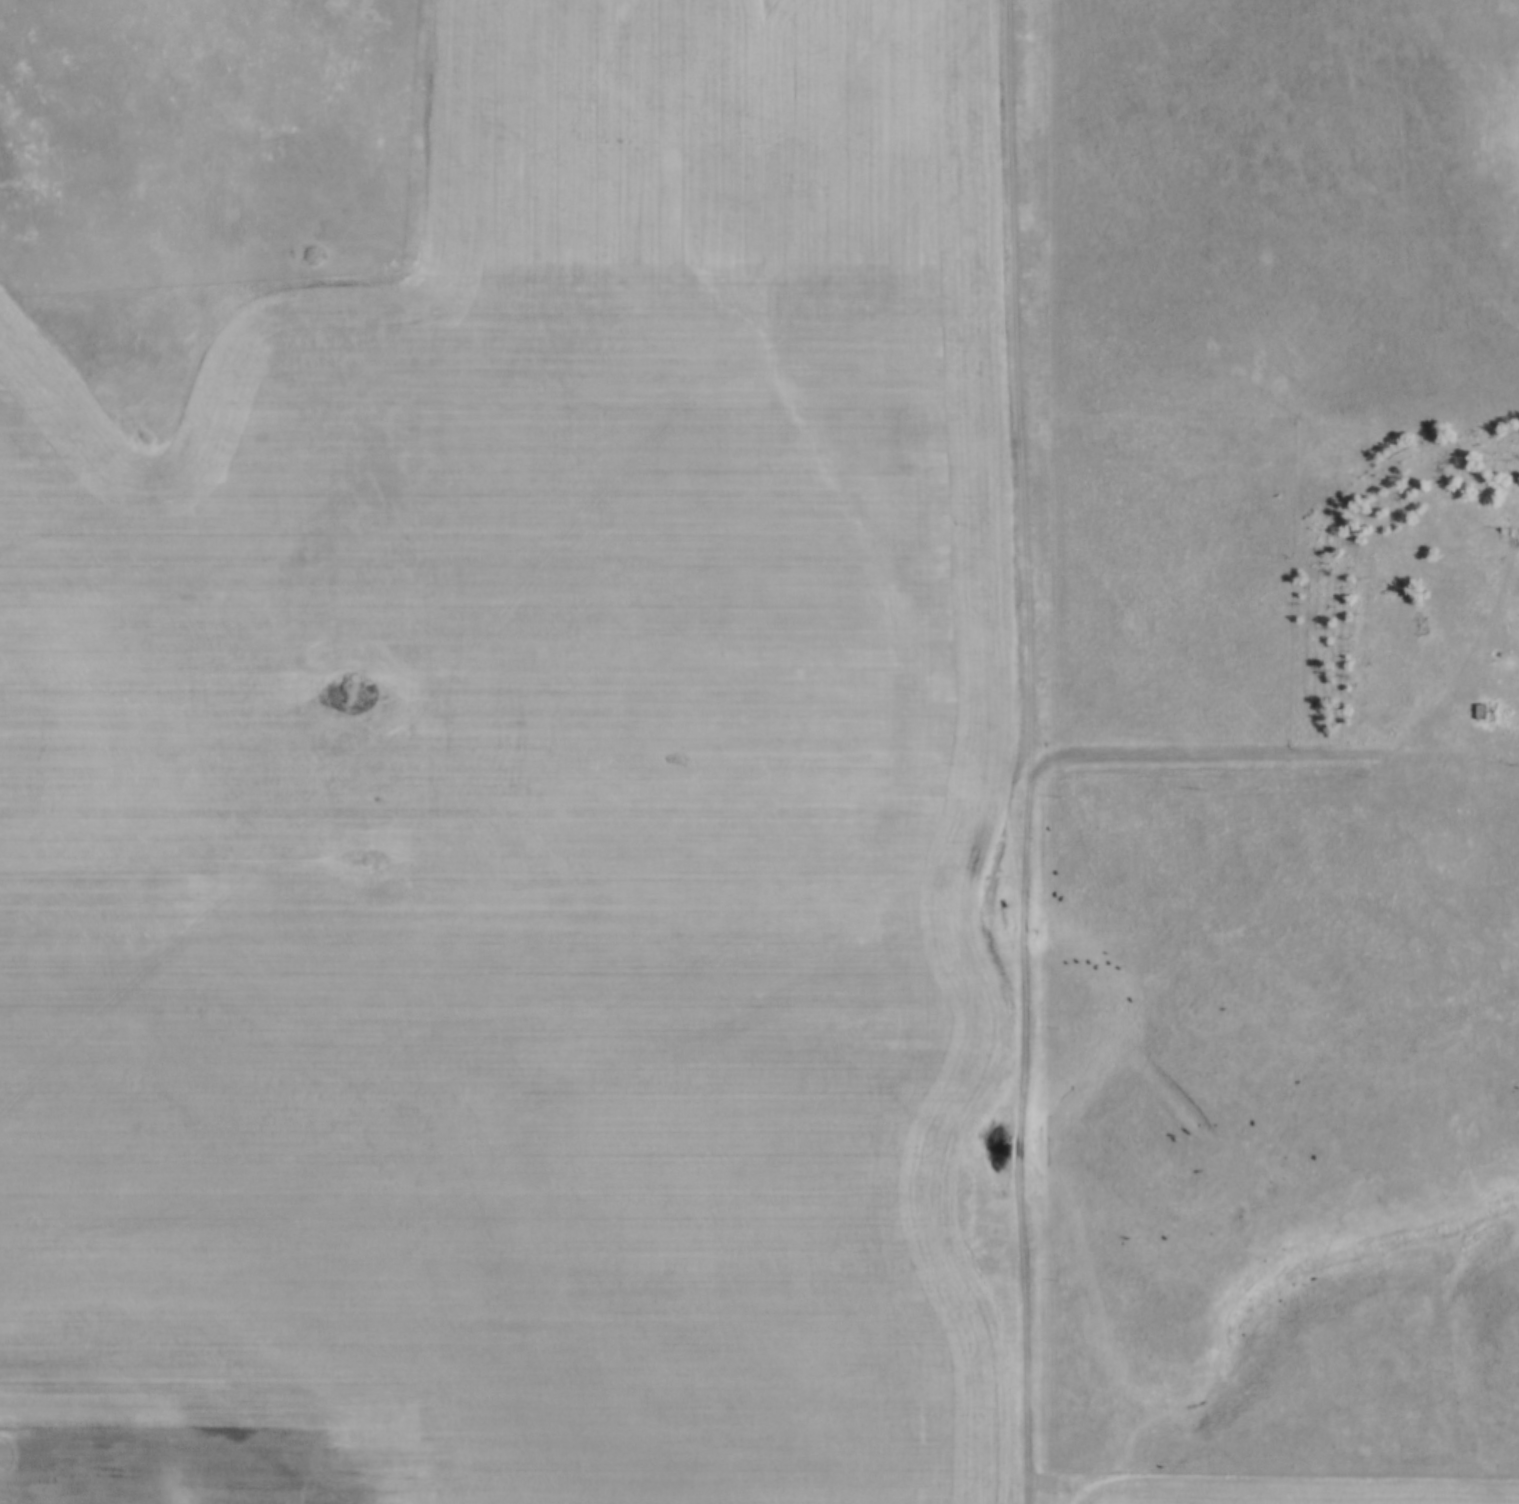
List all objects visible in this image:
building: (1487, 711)
road: (1028, 910)

